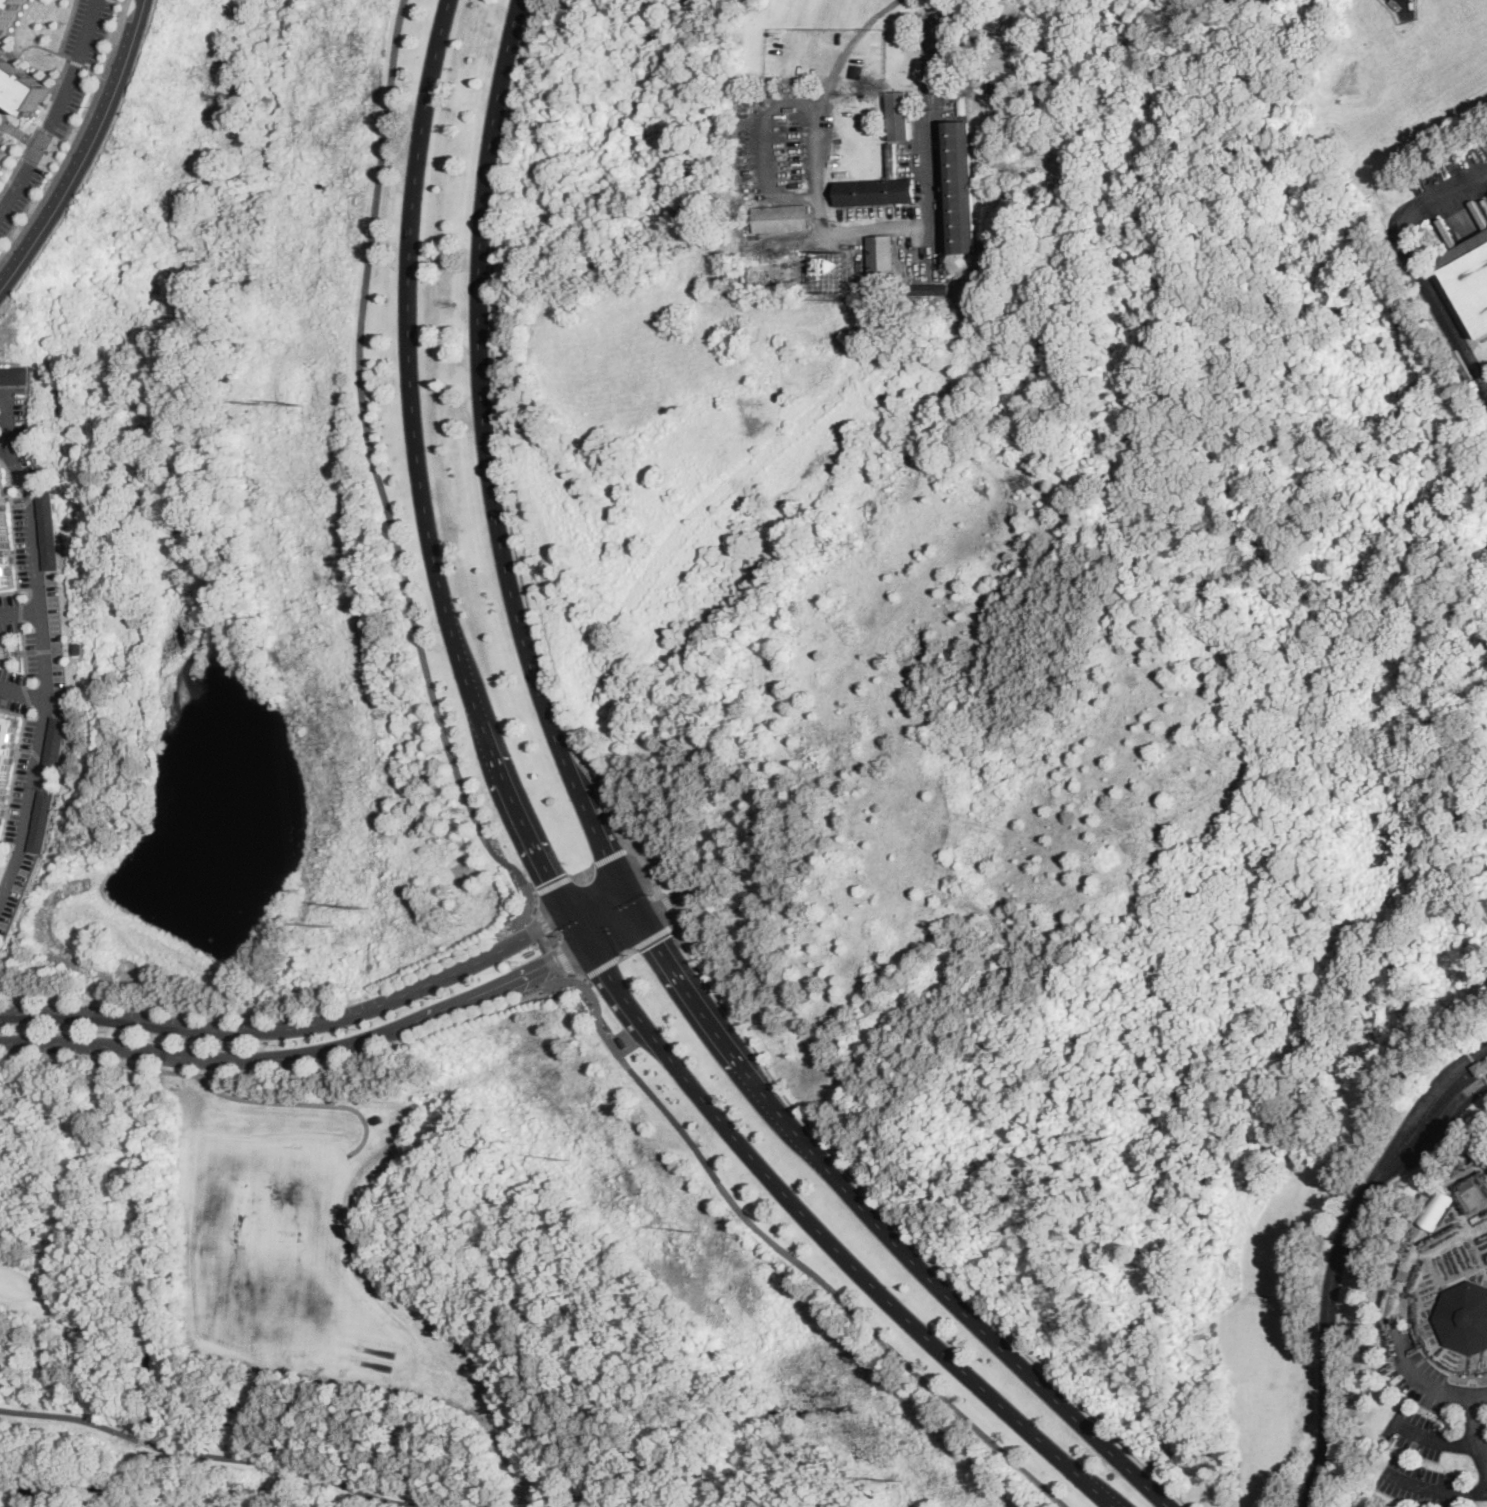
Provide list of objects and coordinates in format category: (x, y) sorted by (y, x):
parking lot: (1243, 1)
building: (7, 13)
building: (1024, 40)
road: (25, 46)
road: (77, 63)
building: (856, 70)
road: (97, 71)
park: (45, 78)
building: (1029, 86)
building: (20, 88)
road: (53, 97)
parking lot: (60, 100)
road: (45, 103)
building: (963, 105)
road: (58, 110)
building: (899, 116)
road: (3, 124)
road: (10, 126)
road: (3, 127)
road: (928, 129)
road: (78, 138)
road: (30, 140)
parking lot: (78, 140)
road: (39, 145)
road: (764, 145)
road: (89, 152)
road: (820, 152)
building: (2, 154)
road: (57, 156)
building: (877, 188)
building: (959, 188)
road: (1438, 194)
building: (782, 218)
building: (881, 263)
building: (829, 271)
building: (1470, 277)
building: (899, 290)
building: (927, 290)
road: (1441, 314)
building: (16, 374)
power tower: (267, 404)
power tower: (304, 408)
parking lot: (0, 420)
parking lot: (26, 436)
road: (500, 446)
road: (8, 449)
road: (486, 452)
road: (376, 469)
road: (28, 502)
building: (50, 529)
road: (15, 532)
building: (5, 541)
parking lot: (22, 541)
road: (28, 596)
parking lot: (9, 599)
road: (20, 609)
parking lot: (54, 609)
road: (19, 611)
parking lot: (8, 626)
parking lot: (30, 639)
road: (41, 645)
building: (78, 647)
road: (63, 649)
road: (43, 650)
park: (10, 651)
road: (23, 651)
road: (29, 651)
parking lot: (31, 665)
parking lot: (10, 676)
parking lot: (59, 682)
road: (22, 693)
road: (24, 693)
parking lot: (12, 703)
road: (26, 709)
building: (57, 741)
road: (34, 752)
building: (6, 757)
road: (51, 766)
building: (597, 773)
parking lot: (49, 775)
parking lot: (21, 777)
road: (14, 778)
building: (45, 820)
road: (537, 852)
road: (612, 855)
road: (583, 870)
road: (642, 875)
traffic signals: (551, 879)
road: (554, 884)
road: (657, 886)
parking lot: (20, 891)
road: (534, 894)
road: (630, 903)
road: (659, 908)
power tower: (369, 910)
power tower: (332, 926)
road: (553, 941)
traffic signals: (654, 943)
road: (629, 953)
traffic signals: (556, 960)
road: (324, 1021)
building: (624, 1043)
road: (332, 1048)
building: (1480, 1068)
road: (297, 1071)
road: (305, 1102)
road: (1423, 1106)
building: (379, 1119)
road: (1437, 1137)
power tower: (572, 1160)
building: (1435, 1207)
road: (900, 1229)
road: (883, 1230)
power tower: (698, 1233)
road: (1435, 1248)
road: (793, 1259)
building: (1464, 1317)
road: (1327, 1338)
road: (1443, 1367)
road: (1473, 1371)
road: (1432, 1385)
road: (72, 1417)
road: (1473, 1421)
parking lot: (1432, 1430)
road: (1438, 1441)
road: (151, 1443)
road: (303, 1468)
power tower: (902, 1483)
road: (1429, 1487)

